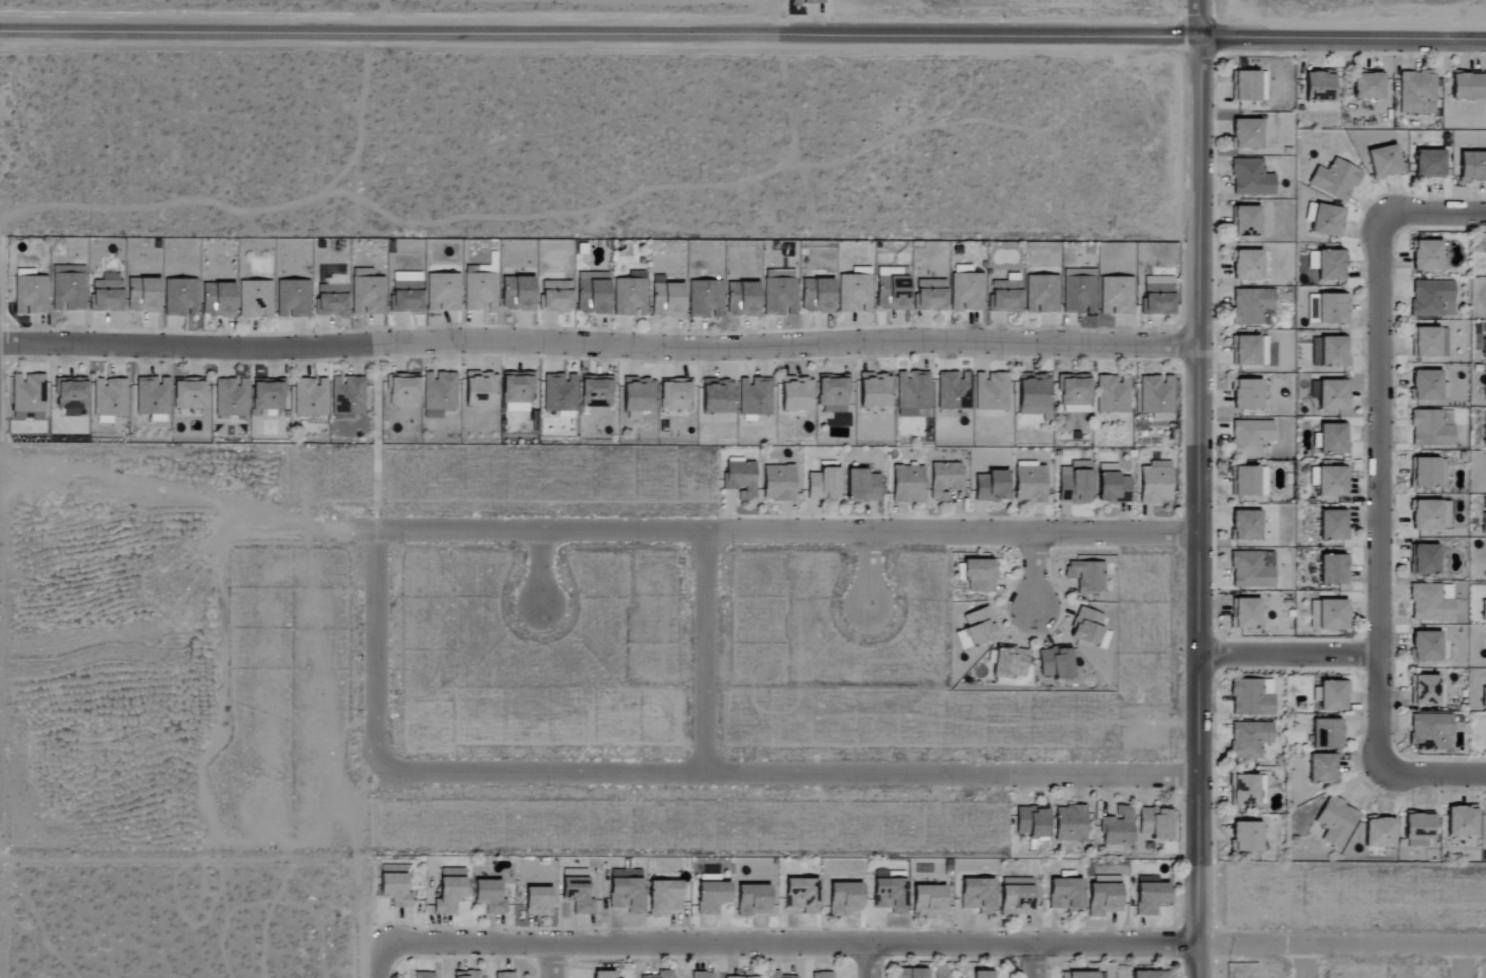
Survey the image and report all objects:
building: (807, 2)
road: (1198, 19)
road: (743, 34)
building: (1245, 85)
building: (1319, 85)
building: (1367, 85)
building: (1466, 85)
building: (1416, 90)
building: (1427, 107)
building: (1246, 134)
building: (1383, 161)
building: (1429, 163)
building: (1472, 166)
building: (1251, 178)
building: (1335, 179)
road: (1431, 214)
building: (1327, 220)
building: (1246, 221)
building: (1426, 254)
building: (1312, 260)
building: (1246, 264)
building: (1331, 265)
building: (67, 287)
building: (479, 291)
building: (966, 291)
building: (1078, 291)
building: (405, 292)
building: (442, 292)
building: (591, 292)
building: (106, 293)
building: (516, 293)
building: (853, 293)
building: (29, 294)
building: (142, 294)
building: (929, 294)
building: (1005, 294)
building: (1041, 294)
building: (367, 295)
building: (630, 295)
building: (816, 295)
building: (1115, 295)
building: (1157, 295)
building: (330, 296)
building: (555, 296)
building: (778, 296)
building: (179, 297)
building: (1430, 297)
building: (292, 298)
building: (741, 298)
building: (216, 299)
building: (255, 299)
building: (666, 299)
building: (704, 299)
building: (1252, 307)
building: (1332, 308)
building: (1447, 309)
building: (1429, 342)
road: (599, 345)
building: (1484, 349)
building: (1249, 350)
building: (1330, 351)
building: (1427, 385)
building: (476, 387)
building: (403, 390)
building: (875, 390)
building: (953, 391)
building: (991, 391)
building: (517, 392)
building: (559, 392)
building: (70, 393)
building: (438, 393)
building: (911, 393)
building: (795, 394)
building: (832, 394)
building: (1074, 394)
building: (1113, 394)
building: (1246, 394)
building: (188, 395)
building: (266, 395)
building: (347, 395)
building: (675, 395)
building: (1034, 395)
building: (1333, 395)
building: (27, 396)
building: (717, 396)
building: (230, 397)
building: (310, 397)
building: (754, 397)
building: (1156, 397)
building: (152, 398)
building: (633, 398)
building: (108, 399)
building: (1485, 427)
building: (1429, 429)
building: (1251, 437)
building: (1333, 438)
building: (1428, 472)
building: (740, 478)
building: (824, 482)
building: (1029, 482)
building: (1075, 482)
building: (1332, 482)
building: (778, 483)
building: (907, 483)
building: (1155, 483)
building: (1112, 485)
building: (861, 486)
building: (991, 486)
road: (173, 492)
road: (1378, 497)
road: (1198, 507)
building: (1429, 514)
building: (1483, 523)
building: (1246, 525)
building: (1333, 525)
road: (770, 531)
building: (1267, 559)
building: (1424, 559)
road: (541, 567)
building: (1333, 569)
road: (867, 570)
road: (1033, 571)
building: (1250, 571)
building: (980, 575)
building: (1086, 576)
building: (1429, 604)
building: (1483, 610)
building: (1245, 613)
building: (1329, 614)
building: (979, 626)
building: (1089, 628)
building: (1425, 646)
road: (377, 650)
road: (705, 652)
road: (1287, 655)
building: (1055, 662)
building: (1009, 664)
building: (1424, 690)
building: (1333, 696)
building: (1252, 697)
building: (1484, 697)
building: (1431, 732)
building: (1326, 734)
building: (1250, 739)
building: (1323, 768)
road: (786, 774)
road: (1435, 775)
building: (1244, 790)
building: (1462, 821)
building: (1032, 822)
building: (1336, 822)
building: (1155, 823)
building: (1070, 824)
building: (1117, 829)
building: (1419, 829)
building: (1380, 832)
building: (1246, 837)
building: (394, 890)
building: (449, 890)
building: (625, 890)
building: (801, 895)
building: (889, 895)
building: (977, 895)
building: (1104, 895)
building: (488, 896)
building: (1016, 896)
building: (1065, 896)
building: (663, 897)
building: (711, 897)
building: (1150, 898)
building: (752, 899)
building: (844, 899)
building: (928, 900)
building: (537, 901)
road: (790, 946)
road: (1340, 946)
road: (380, 960)
road: (550, 962)
road: (867, 962)
road: (1034, 962)
road: (1307, 962)
road: (1464, 962)
building: (911, 973)
building: (465, 974)
building: (603, 974)
building: (982, 974)
building: (1150, 974)
building: (421, 975)
building: (504, 975)
building: (660, 975)
building: (701, 975)
building: (747, 975)
building: (775, 975)
building: (822, 975)
building: (1082, 975)

